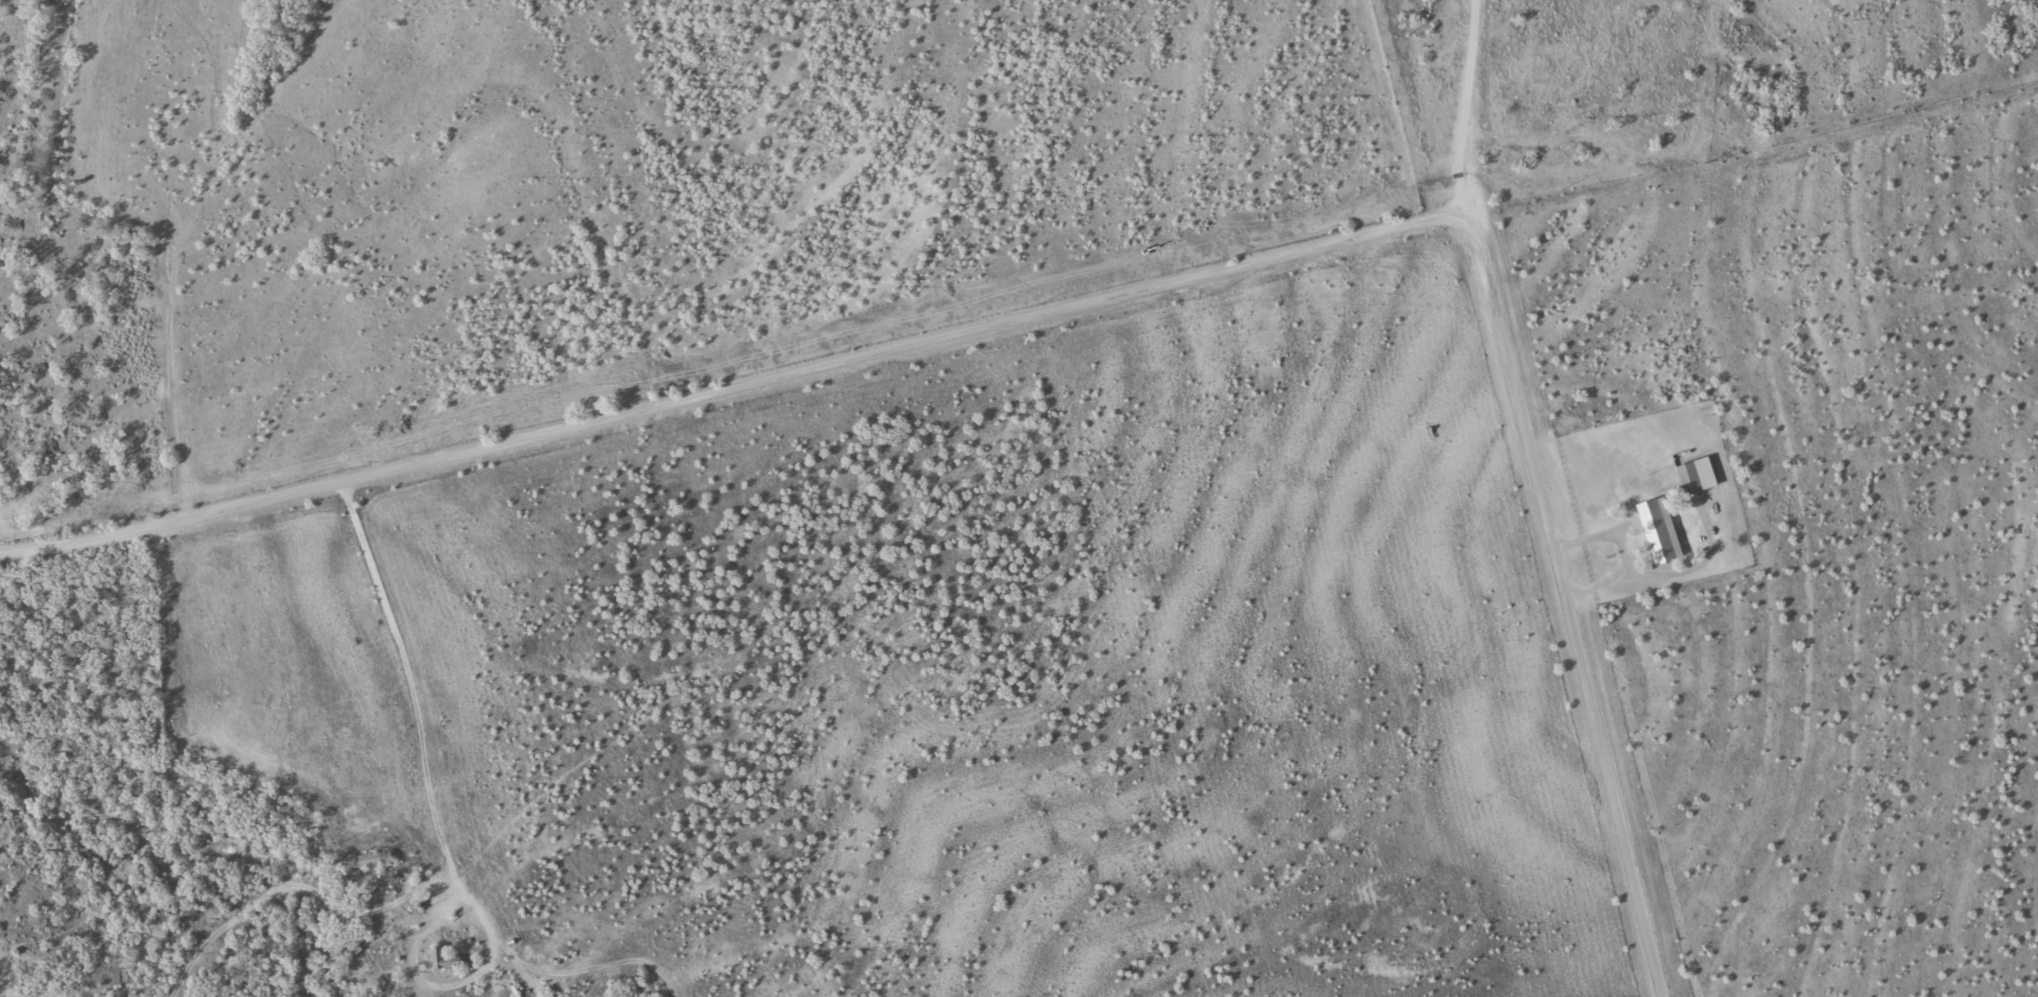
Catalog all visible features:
road: (1435, 108)
road: (1120, 290)
building: (1695, 474)
building: (1659, 528)
road: (404, 646)

